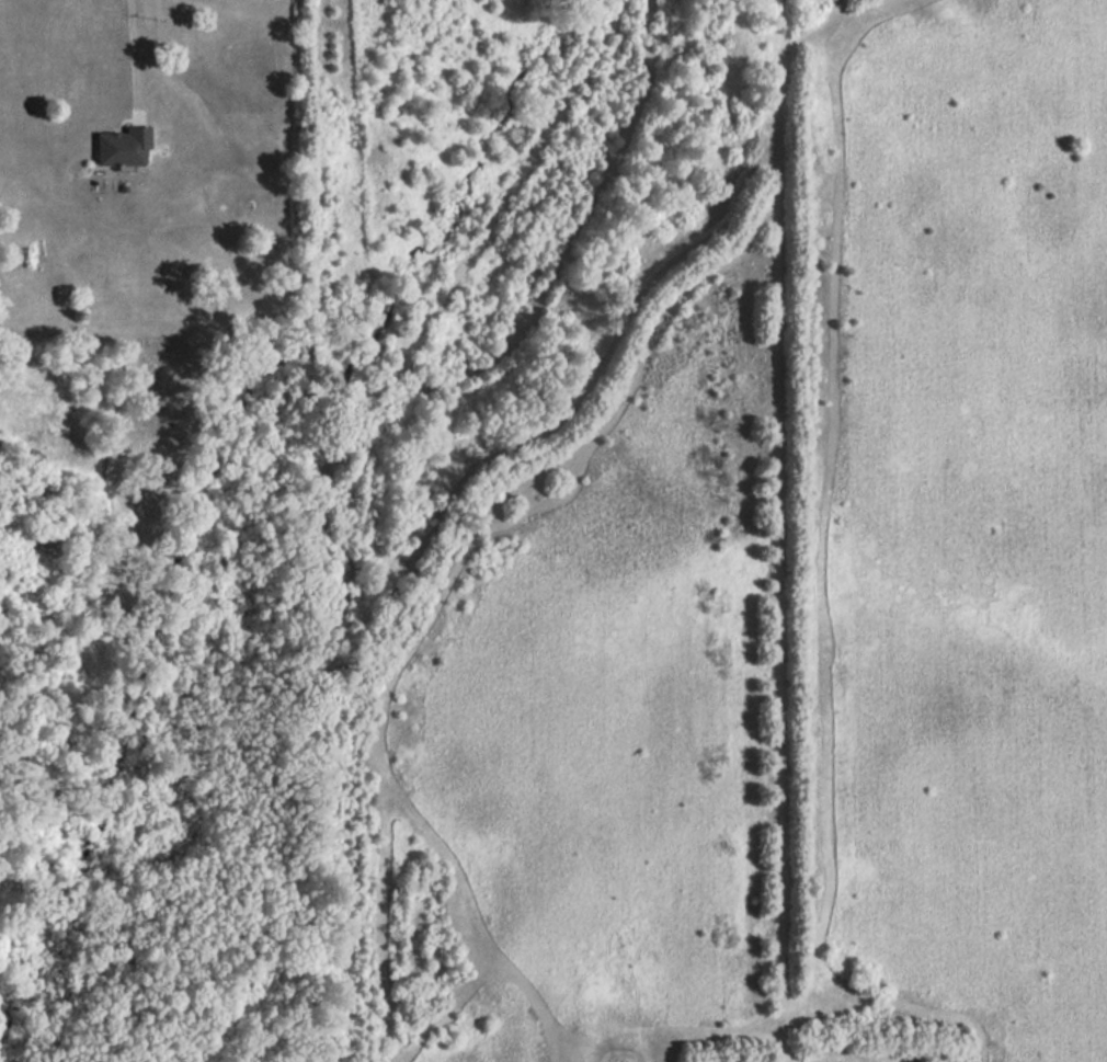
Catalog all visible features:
road: (133, 54)

